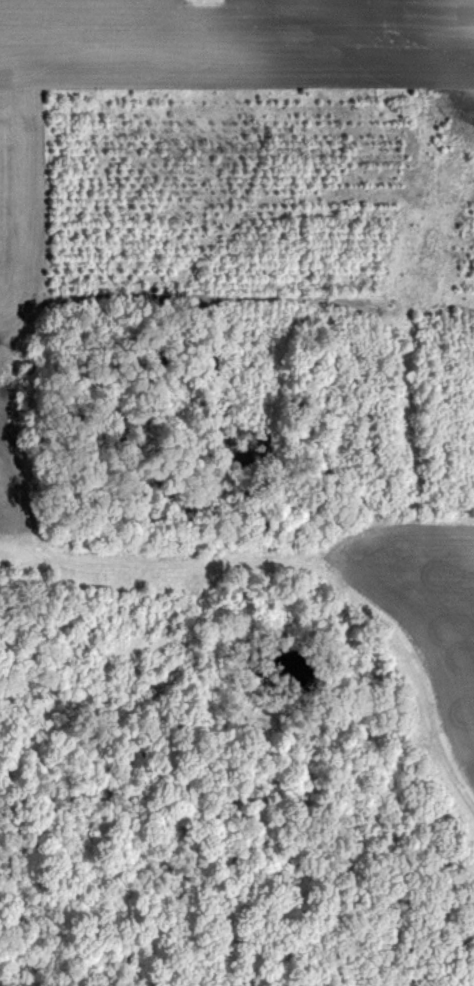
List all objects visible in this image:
crop: (237, 493)

